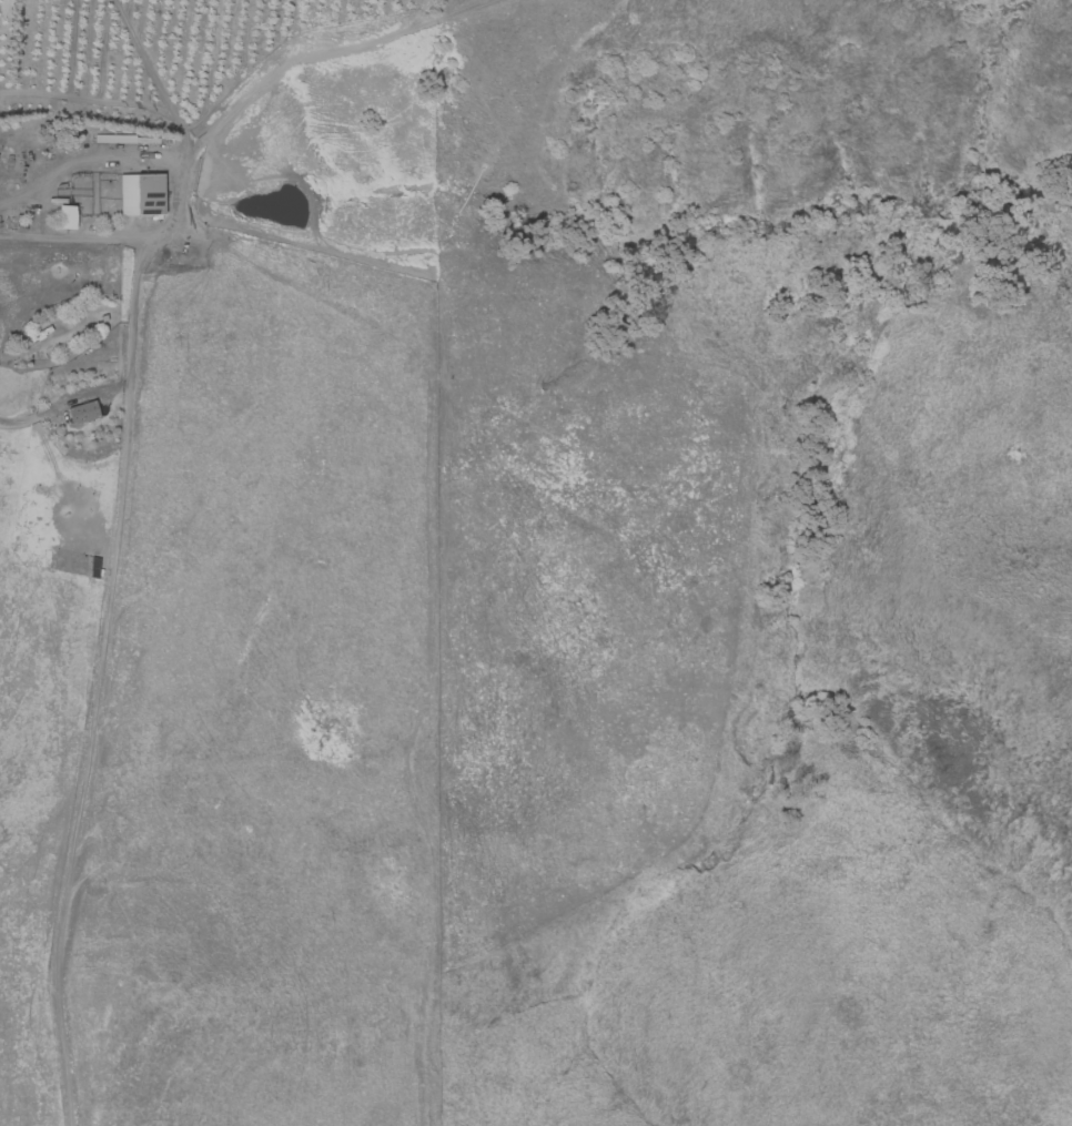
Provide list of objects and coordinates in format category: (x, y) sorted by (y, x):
road: (225, 114)
building: (140, 195)
building: (65, 217)
building: (82, 412)
road: (101, 681)

